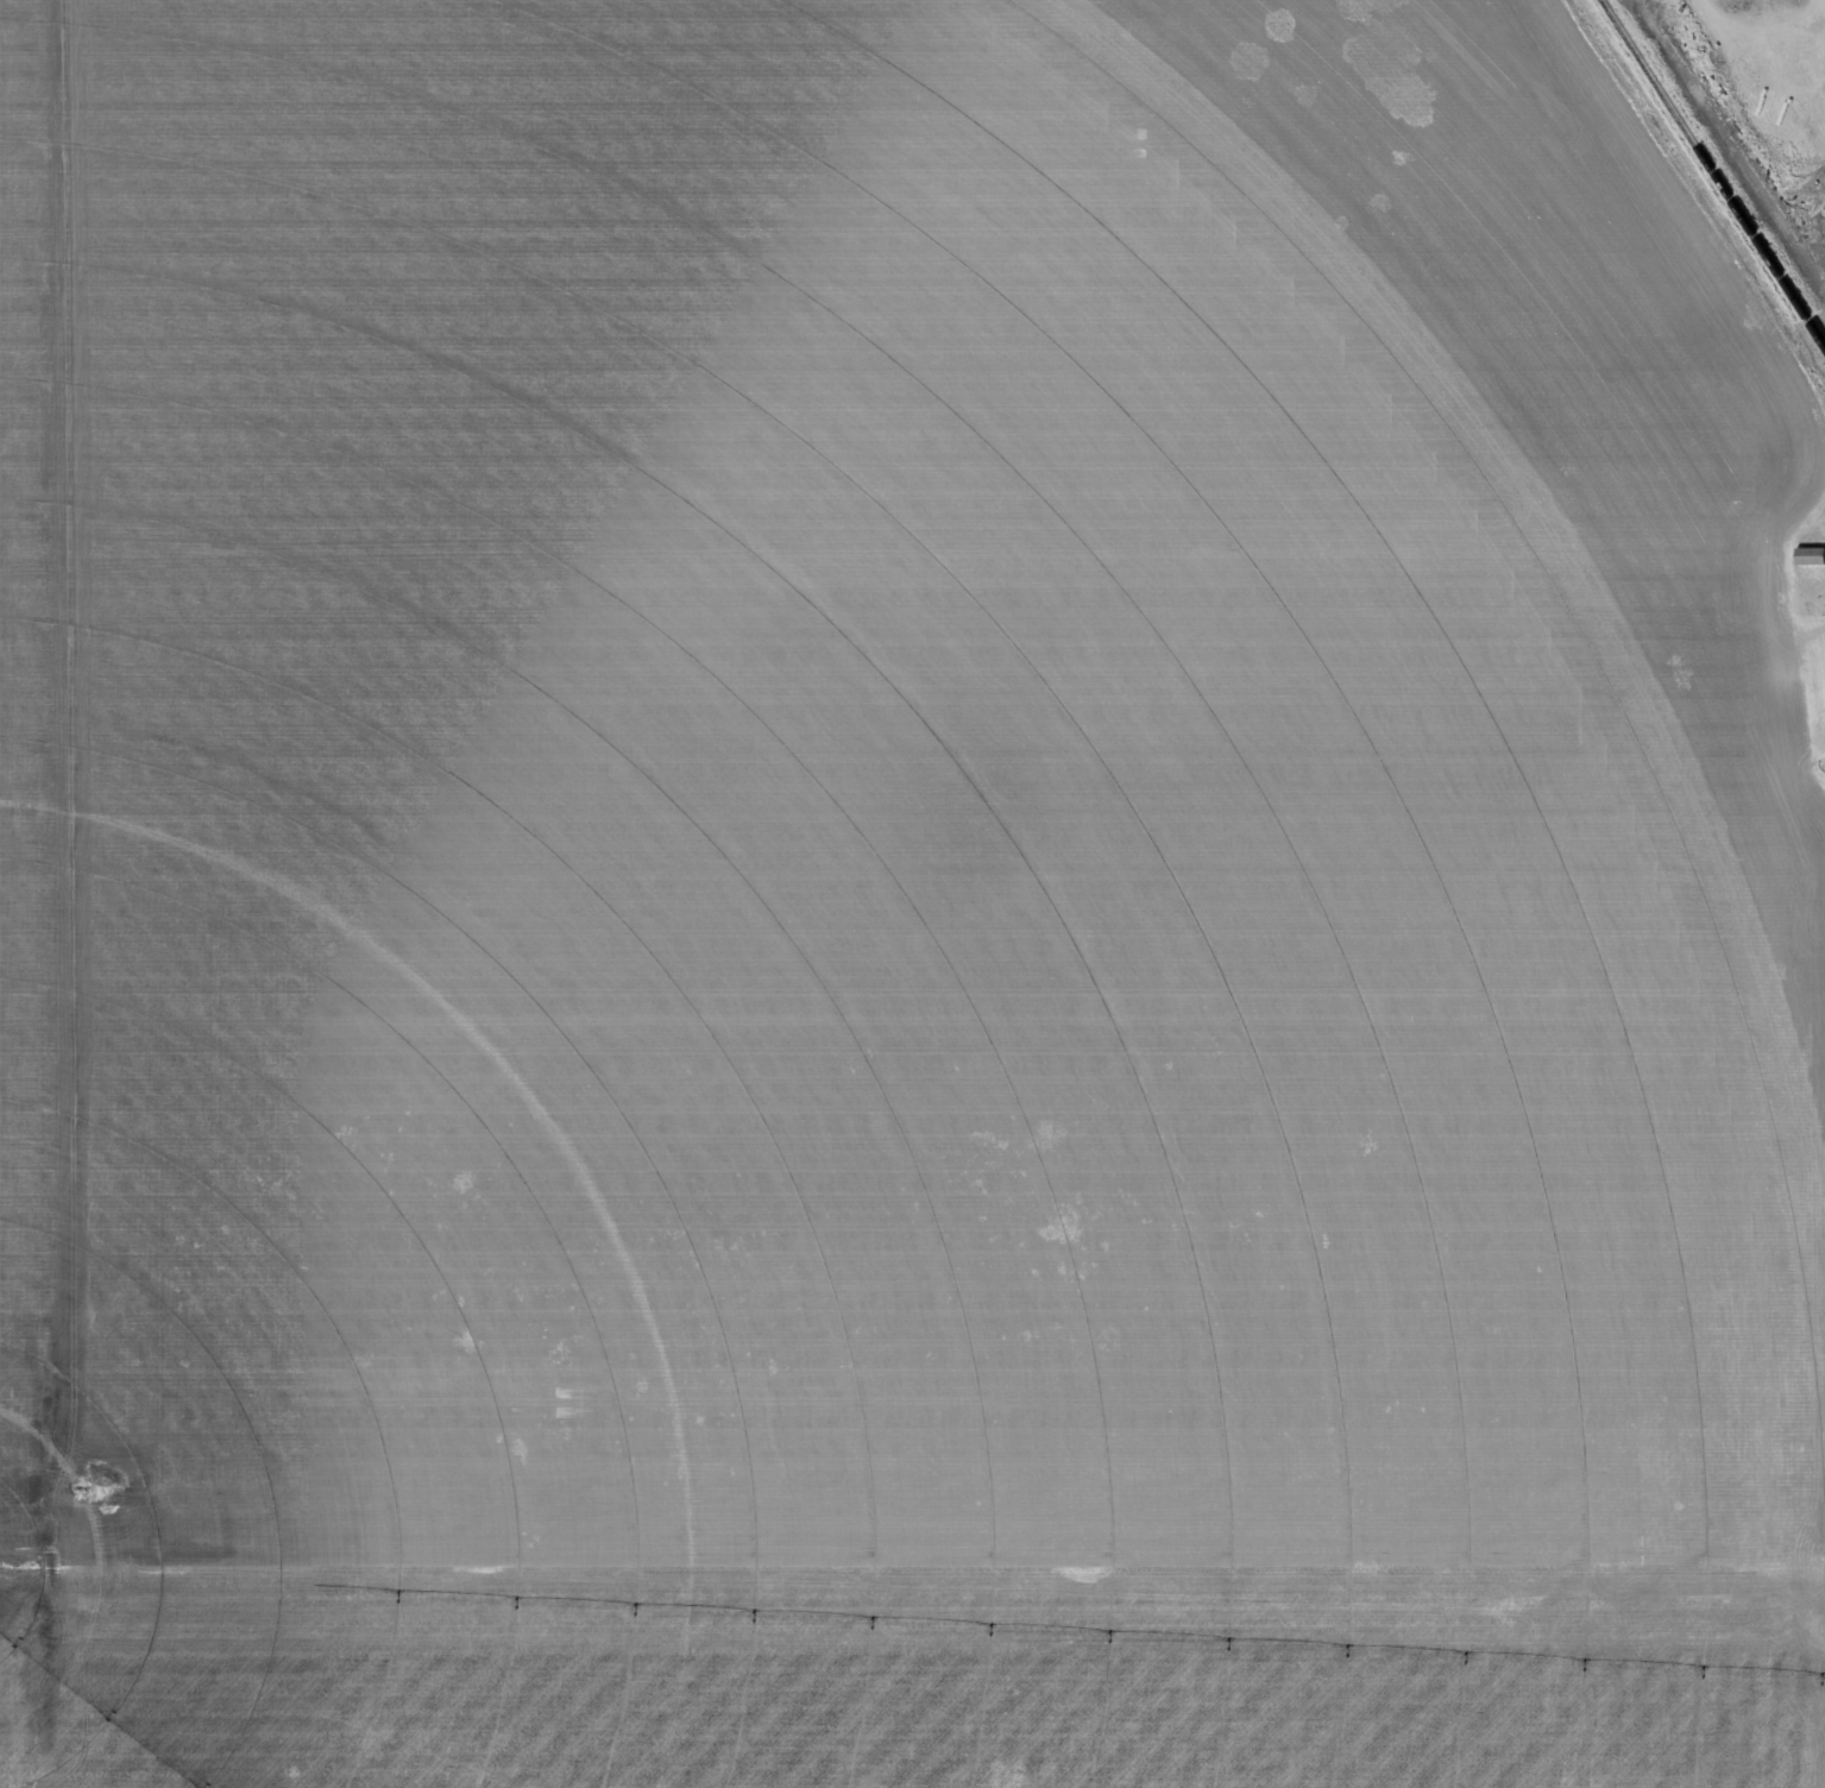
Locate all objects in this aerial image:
railway: (1713, 171)

